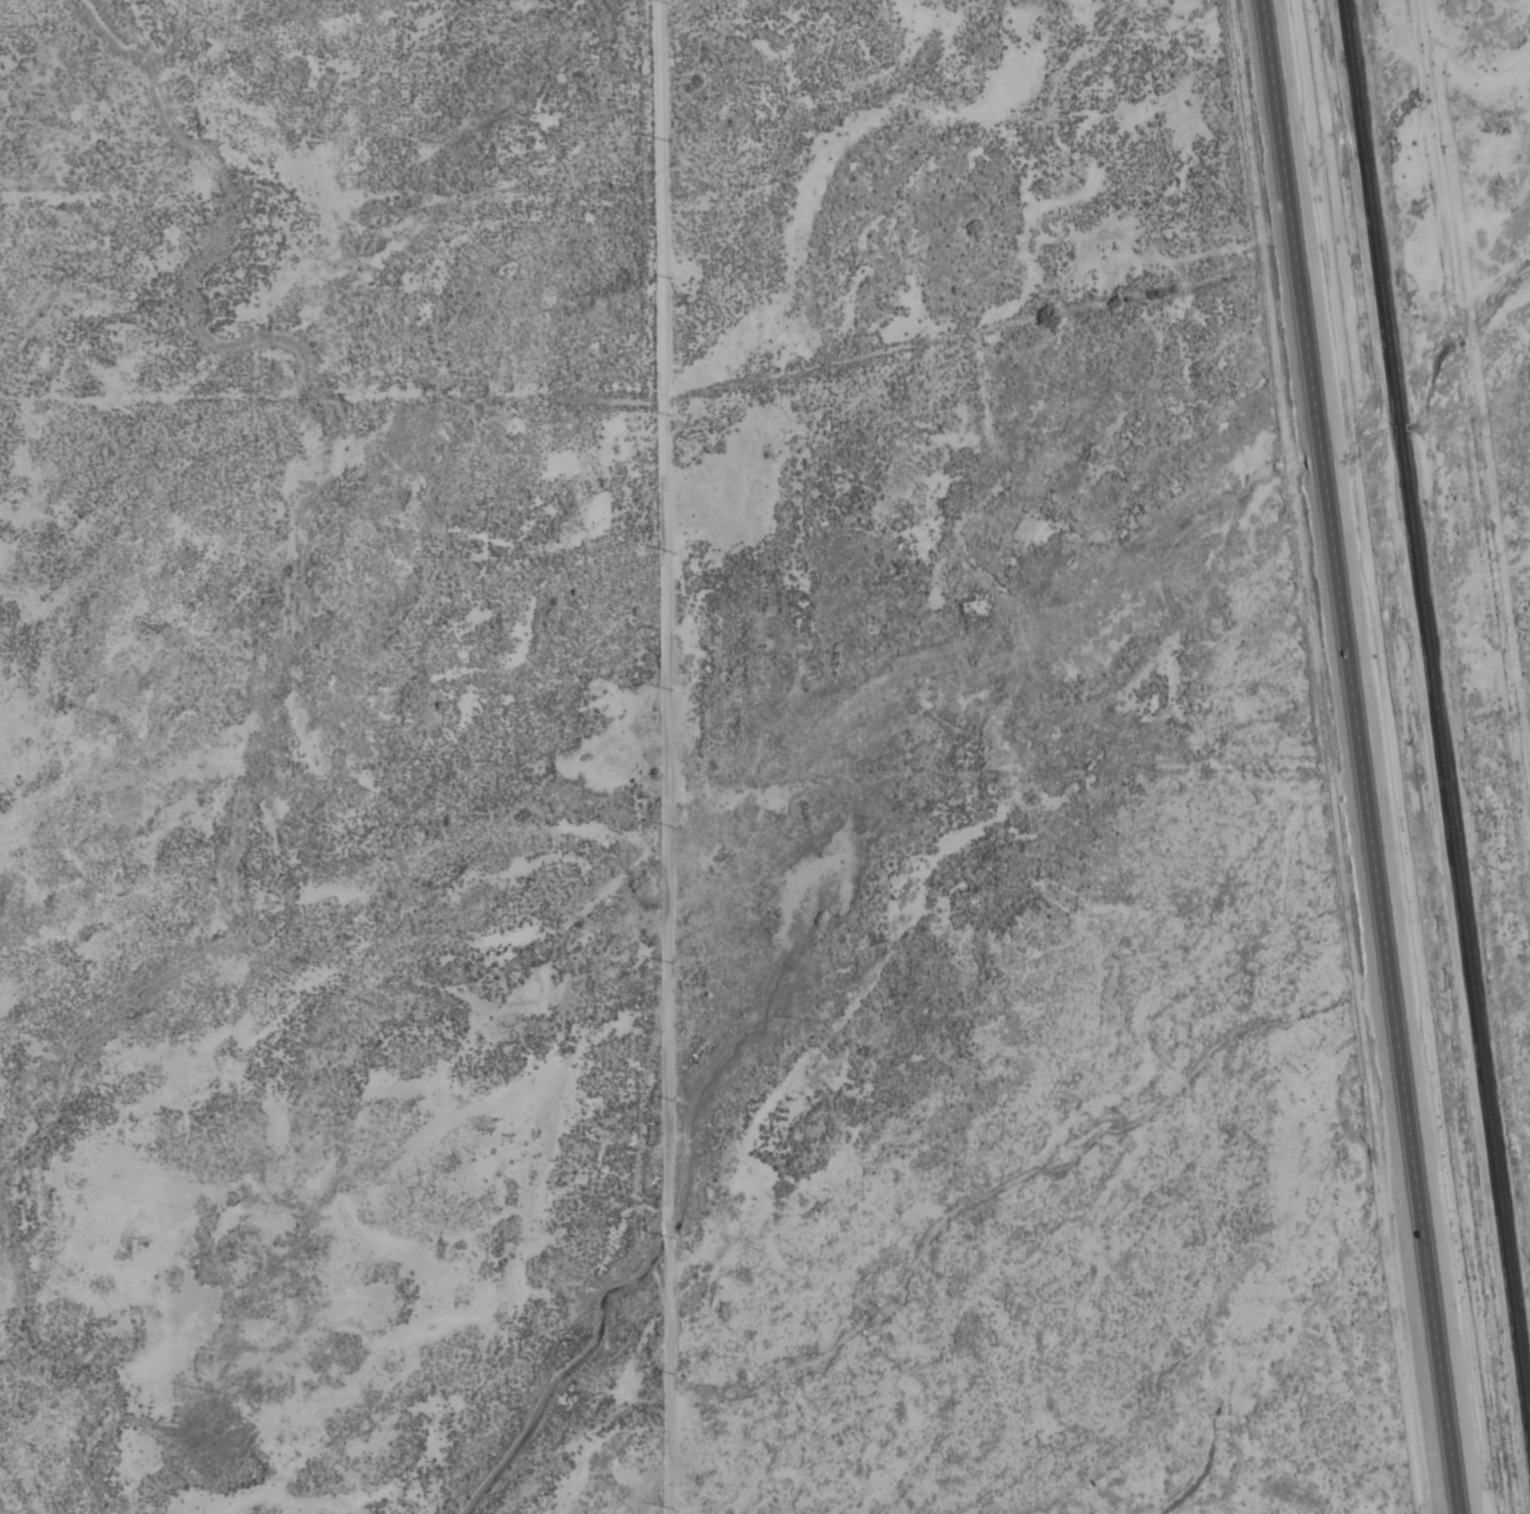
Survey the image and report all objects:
road: (1471, 399)
railway: (1436, 714)
road: (657, 757)
road: (1362, 757)

